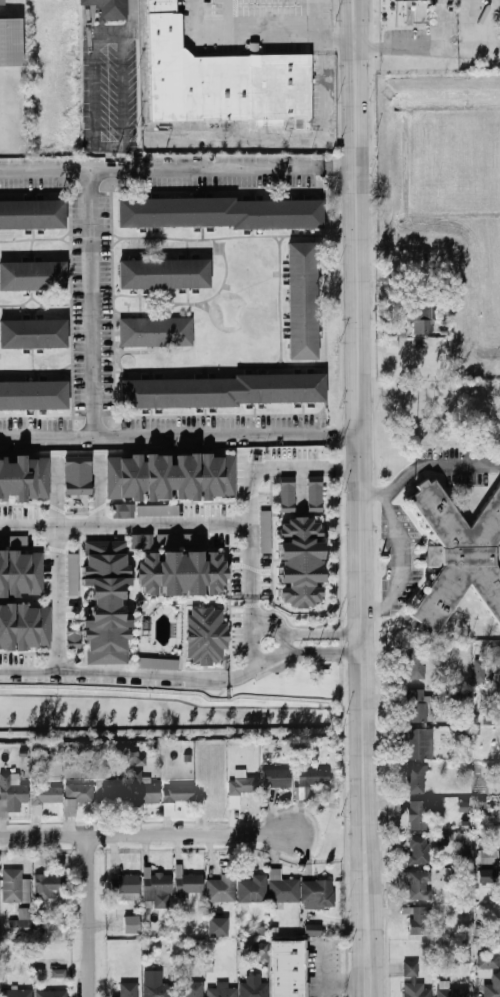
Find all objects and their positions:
building: (408, 0)
building: (2, 2)
building: (161, 6)
building: (110, 8)
road: (233, 18)
road: (256, 36)
building: (11, 43)
building: (220, 81)
road: (218, 137)
road: (340, 166)
road: (161, 169)
building: (220, 213)
building: (32, 214)
building: (164, 273)
building: (33, 276)
building: (301, 301)
road: (92, 303)
building: (420, 318)
building: (155, 331)
building: (33, 333)
building: (221, 391)
building: (33, 395)
road: (342, 433)
road: (162, 435)
road: (360, 458)
parking lot: (463, 464)
road: (458, 465)
road: (261, 469)
road: (347, 469)
building: (78, 475)
building: (169, 477)
building: (24, 479)
road: (400, 479)
building: (286, 494)
building: (314, 494)
road: (113, 503)
building: (158, 510)
building: (123, 511)
road: (158, 526)
building: (265, 532)
road: (207, 536)
road: (79, 538)
building: (180, 539)
building: (13, 541)
building: (141, 541)
road: (197, 546)
road: (403, 550)
parking lot: (400, 556)
building: (458, 556)
flagpole: (390, 557)
building: (299, 562)
road: (80, 571)
building: (21, 572)
building: (73, 574)
building: (182, 574)
road: (59, 600)
building: (106, 602)
road: (252, 613)
road: (231, 619)
building: (24, 627)
road: (322, 633)
building: (207, 635)
building: (74, 640)
road: (284, 642)
building: (496, 651)
road: (322, 652)
building: (157, 663)
building: (416, 664)
road: (247, 670)
building: (479, 671)
road: (114, 673)
building: (417, 706)
building: (486, 717)
building: (419, 744)
building: (314, 777)
building: (277, 778)
building: (417, 780)
building: (241, 789)
building: (112, 790)
building: (143, 792)
building: (11, 795)
building: (177, 795)
building: (46, 796)
building: (78, 799)
building: (418, 815)
road: (146, 834)
building: (420, 851)
building: (465, 860)
building: (486, 875)
building: (189, 882)
building: (126, 884)
building: (416, 884)
building: (50, 885)
building: (13, 886)
building: (283, 888)
building: (222, 889)
building: (158, 890)
building: (252, 891)
building: (318, 893)
road: (91, 916)
building: (21, 922)
building: (421, 922)
building: (132, 925)
building: (218, 927)
building: (261, 951)
building: (493, 951)
road: (367, 956)
building: (489, 961)
building: (287, 968)
building: (59, 973)
building: (194, 989)
building: (254, 989)
building: (129, 990)
building: (159, 990)
building: (223, 990)
building: (492, 990)
building: (17, 993)
building: (418, 993)
building: (454, 993)
building: (52, 994)

